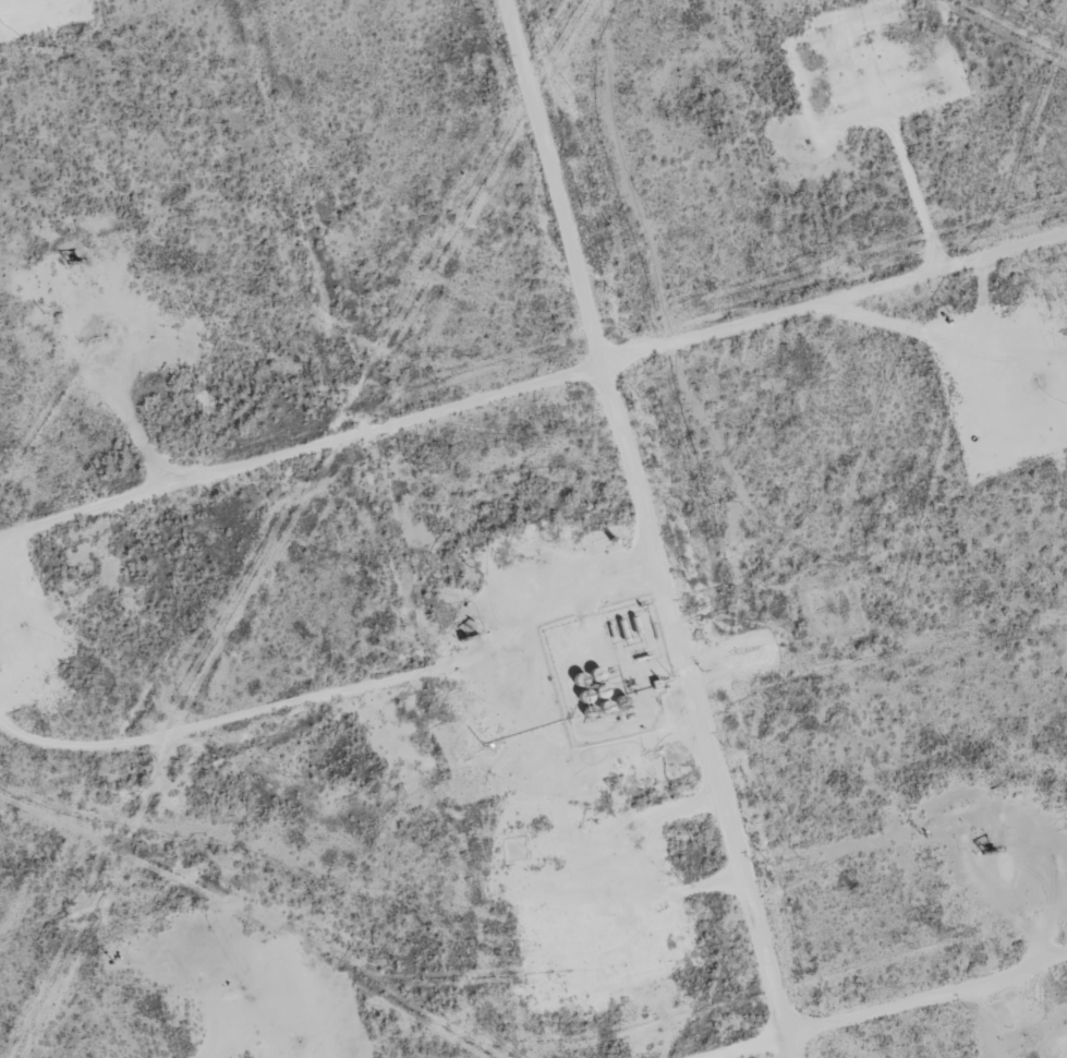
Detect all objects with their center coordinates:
road: (534, 405)
road: (590, 528)
road: (936, 1019)

